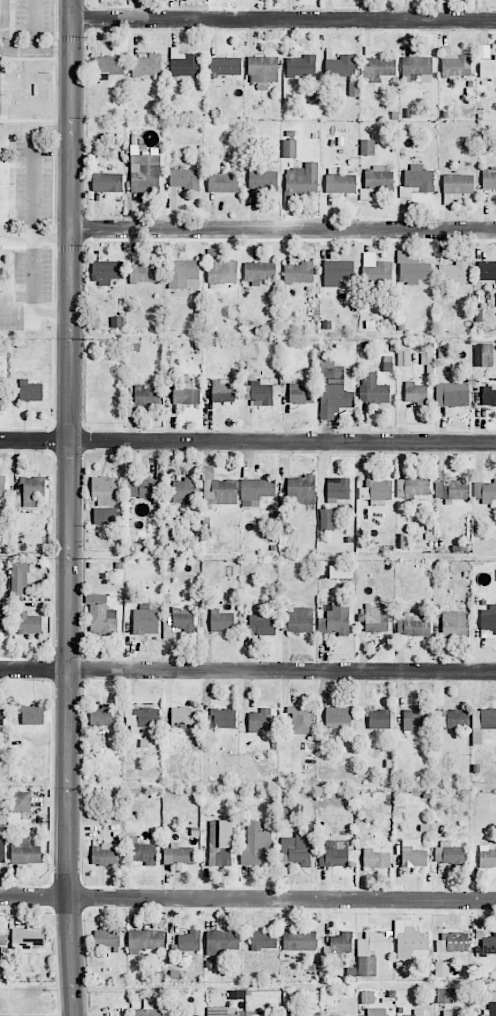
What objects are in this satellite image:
road: (284, 19)
road: (33, 25)
road: (2, 36)
road: (53, 52)
building: (184, 63)
building: (147, 65)
building: (108, 66)
building: (224, 66)
building: (300, 66)
building: (340, 66)
building: (455, 66)
building: (488, 67)
building: (378, 68)
building: (416, 70)
building: (263, 71)
building: (13, 81)
building: (315, 96)
building: (367, 147)
building: (289, 148)
building: (145, 174)
building: (185, 179)
building: (262, 179)
building: (489, 179)
building: (417, 180)
building: (301, 181)
building: (339, 181)
building: (107, 182)
building: (376, 182)
building: (222, 183)
building: (456, 186)
road: (31, 200)
road: (284, 230)
road: (52, 233)
building: (220, 267)
building: (412, 270)
building: (486, 270)
building: (106, 271)
building: (259, 271)
building: (144, 272)
building: (298, 272)
building: (337, 272)
building: (377, 273)
building: (453, 273)
building: (183, 274)
road: (35, 316)
building: (483, 355)
building: (404, 358)
building: (373, 389)
building: (223, 390)
building: (29, 391)
building: (333, 392)
building: (185, 393)
building: (416, 393)
building: (258, 394)
building: (300, 394)
building: (452, 394)
building: (489, 395)
building: (147, 396)
road: (247, 440)
building: (2, 487)
building: (412, 488)
building: (144, 489)
building: (337, 489)
building: (32, 490)
building: (104, 490)
building: (183, 490)
building: (219, 490)
building: (301, 490)
building: (375, 490)
building: (451, 490)
building: (256, 491)
building: (486, 493)
road: (70, 508)
building: (105, 515)
building: (326, 519)
building: (340, 572)
building: (19, 578)
building: (101, 615)
building: (0, 617)
building: (375, 618)
building: (300, 619)
building: (145, 620)
building: (183, 620)
building: (221, 620)
building: (335, 620)
building: (488, 621)
building: (29, 623)
building: (454, 623)
building: (261, 624)
building: (412, 625)
road: (248, 669)
building: (31, 714)
building: (183, 715)
building: (301, 715)
building: (101, 716)
building: (1, 717)
building: (338, 717)
building: (141, 718)
building: (378, 718)
building: (414, 718)
building: (453, 718)
building: (219, 719)
building: (259, 720)
building: (481, 723)
building: (21, 801)
building: (220, 843)
building: (256, 846)
building: (296, 849)
building: (2, 851)
building: (24, 852)
building: (143, 852)
building: (334, 854)
building: (412, 854)
building: (450, 854)
building: (105, 855)
building: (178, 855)
building: (487, 857)
building: (375, 859)
road: (248, 898)
building: (2, 936)
building: (27, 937)
building: (106, 938)
building: (145, 940)
building: (263, 940)
building: (189, 941)
building: (222, 941)
building: (299, 941)
building: (452, 941)
building: (412, 943)
building: (489, 944)
building: (338, 945)
building: (371, 951)
building: (441, 969)
building: (445, 995)
park: (27, 998)
building: (368, 998)
building: (489, 1010)
building: (149, 1012)
building: (233, 1012)
building: (378, 1012)
building: (454, 1012)
building: (416, 1013)

